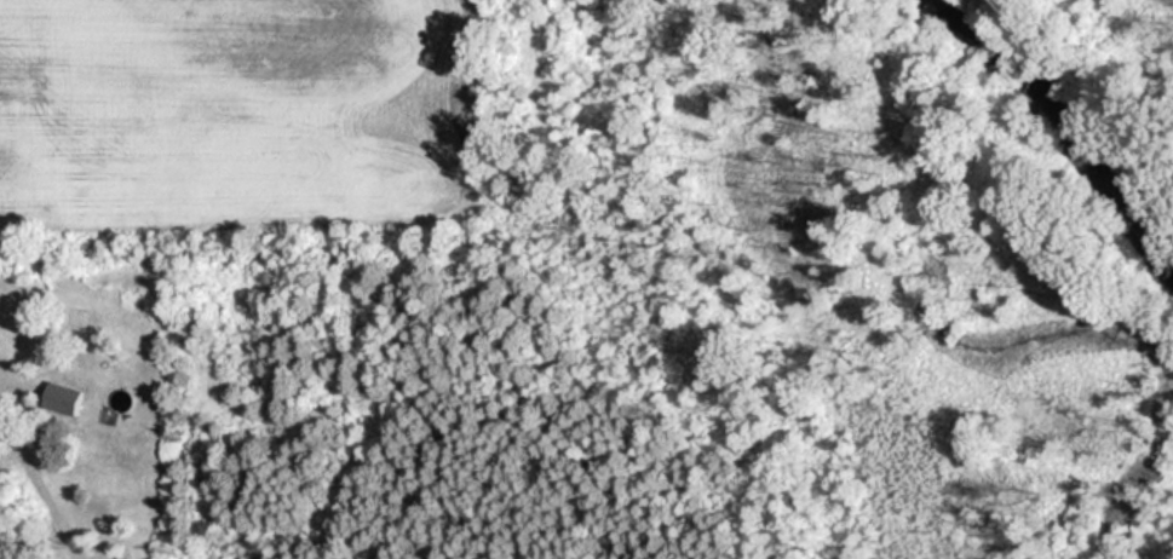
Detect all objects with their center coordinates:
river: (1063, 119)

